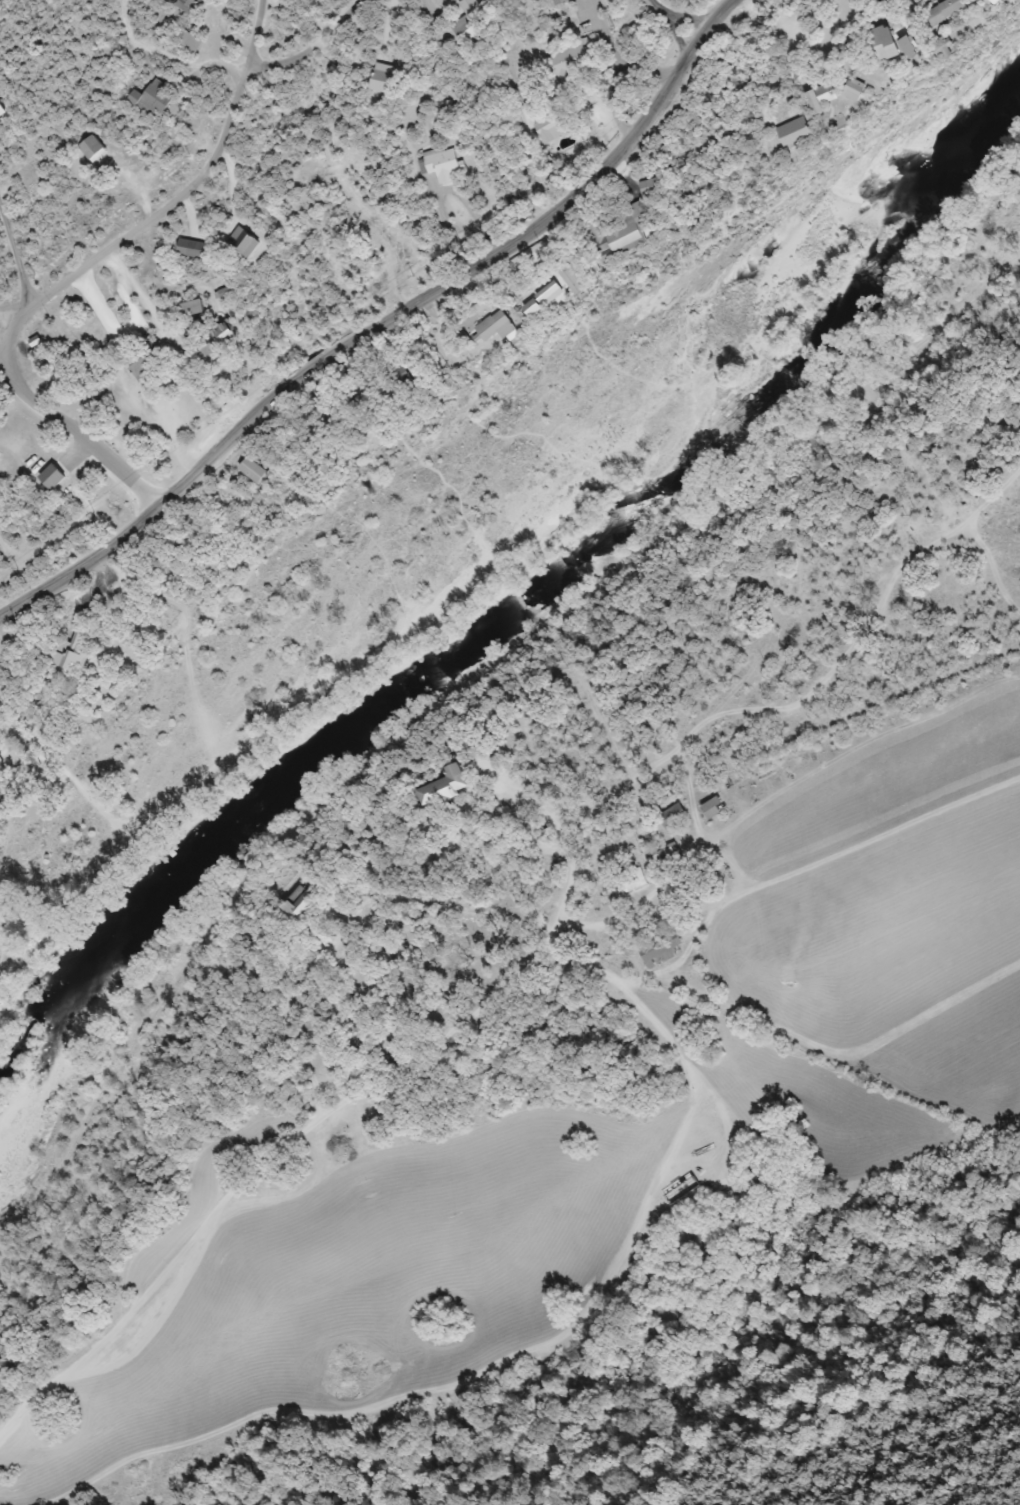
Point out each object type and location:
building: (562, 2)
building: (1012, 2)
building: (189, 6)
building: (958, 11)
road: (679, 16)
building: (470, 21)
building: (191, 43)
building: (900, 43)
road: (310, 48)
road: (621, 51)
building: (960, 52)
building: (579, 61)
building: (387, 78)
building: (835, 98)
building: (155, 99)
building: (5, 108)
building: (809, 132)
building: (96, 149)
building: (444, 166)
road: (193, 186)
building: (654, 187)
building: (624, 233)
building: (248, 243)
building: (196, 249)
road: (16, 255)
building: (228, 293)
building: (196, 310)
road: (383, 321)
building: (502, 327)
road: (11, 332)
building: (229, 334)
road: (80, 437)
building: (263, 472)
building: (58, 474)
river: (525, 607)
building: (76, 656)
building: (449, 788)
building: (715, 809)
building: (674, 816)
building: (670, 854)
building: (634, 882)
building: (312, 898)
building: (665, 951)
road: (533, 968)

